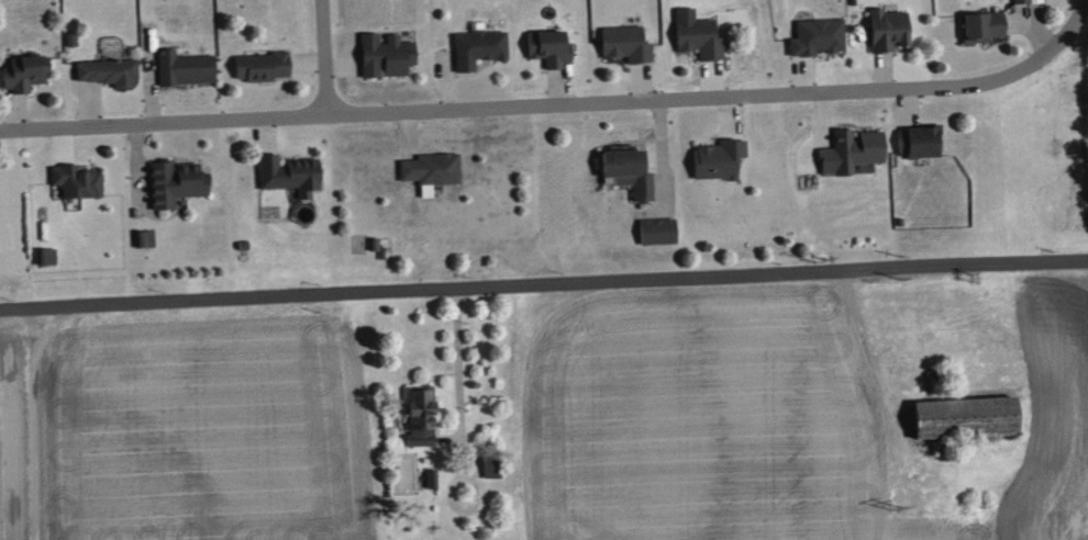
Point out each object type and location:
building: (1022, 1)
building: (982, 26)
building: (890, 29)
building: (699, 34)
road: (1040, 34)
building: (818, 37)
road: (1057, 41)
building: (628, 44)
building: (479, 47)
building: (551, 47)
building: (388, 54)
road: (322, 58)
road: (310, 63)
building: (263, 67)
building: (185, 68)
road: (341, 68)
building: (109, 70)
road: (884, 72)
building: (25, 75)
road: (801, 77)
road: (712, 80)
road: (643, 83)
road: (446, 86)
road: (559, 89)
road: (151, 100)
road: (907, 103)
road: (511, 105)
road: (89, 106)
road: (730, 113)
road: (16, 114)
road: (824, 115)
road: (407, 132)
road: (263, 134)
building: (920, 143)
road: (62, 144)
building: (852, 151)
road: (663, 156)
road: (135, 158)
building: (719, 161)
building: (432, 170)
building: (630, 170)
building: (292, 176)
building: (79, 180)
building: (177, 182)
building: (658, 233)
building: (145, 239)
building: (47, 257)
road: (543, 284)
road: (457, 380)
building: (423, 418)
road: (32, 419)
building: (968, 420)
building: (492, 468)

